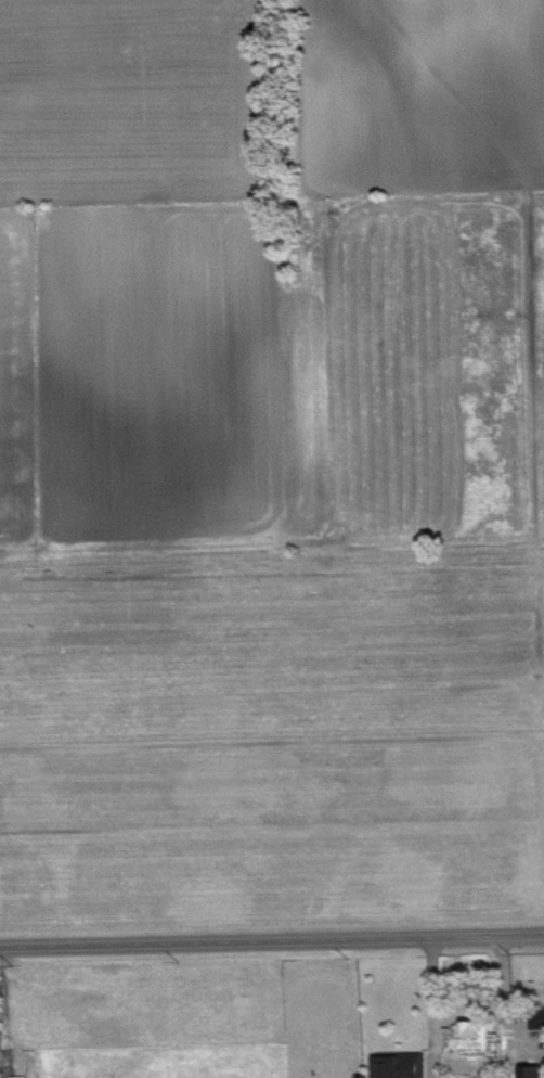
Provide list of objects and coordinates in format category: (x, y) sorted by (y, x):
road: (271, 942)
road: (508, 1009)
road: (432, 1010)
building: (536, 1015)
building: (477, 1034)
building: (399, 1064)
building: (530, 1070)
building: (18, 1076)

